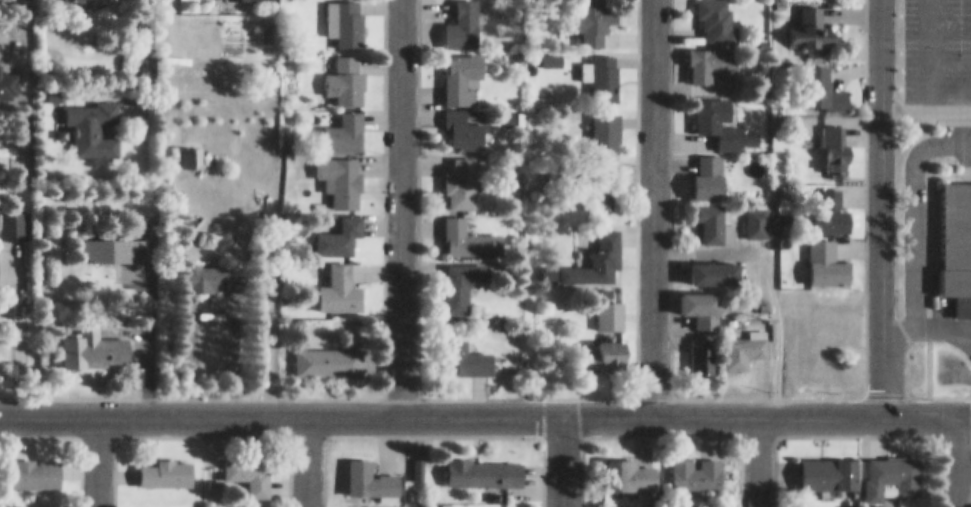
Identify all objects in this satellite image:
building: (595, 16)
building: (717, 17)
building: (344, 19)
building: (462, 20)
building: (811, 22)
road: (931, 49)
building: (713, 62)
building: (601, 66)
parking lot: (939, 66)
building: (462, 68)
building: (347, 71)
building: (824, 81)
road: (925, 99)
building: (720, 113)
building: (805, 115)
building: (465, 118)
building: (92, 119)
building: (343, 124)
building: (606, 127)
building: (835, 143)
building: (190, 148)
building: (709, 167)
building: (341, 171)
building: (463, 173)
building: (603, 180)
building: (831, 203)
road: (398, 204)
road: (652, 204)
road: (879, 204)
building: (756, 214)
building: (712, 215)
building: (12, 216)
road: (911, 219)
building: (340, 228)
building: (468, 231)
building: (954, 232)
building: (116, 241)
building: (591, 254)
building: (827, 256)
building: (715, 264)
building: (217, 268)
building: (462, 276)
building: (340, 281)
building: (702, 300)
building: (610, 306)
building: (95, 340)
building: (745, 341)
building: (606, 346)
building: (702, 347)
building: (469, 350)
building: (328, 353)
road: (485, 408)
road: (560, 457)
road: (757, 457)
road: (953, 457)
road: (96, 458)
road: (305, 458)
building: (34, 464)
building: (697, 464)
building: (830, 464)
building: (166, 465)
building: (249, 465)
building: (485, 465)
building: (631, 468)
building: (893, 468)
building: (370, 471)
building: (256, 502)
building: (43, 503)
building: (358, 503)
building: (151, 504)
building: (490, 506)
building: (621, 506)
building: (887, 506)

